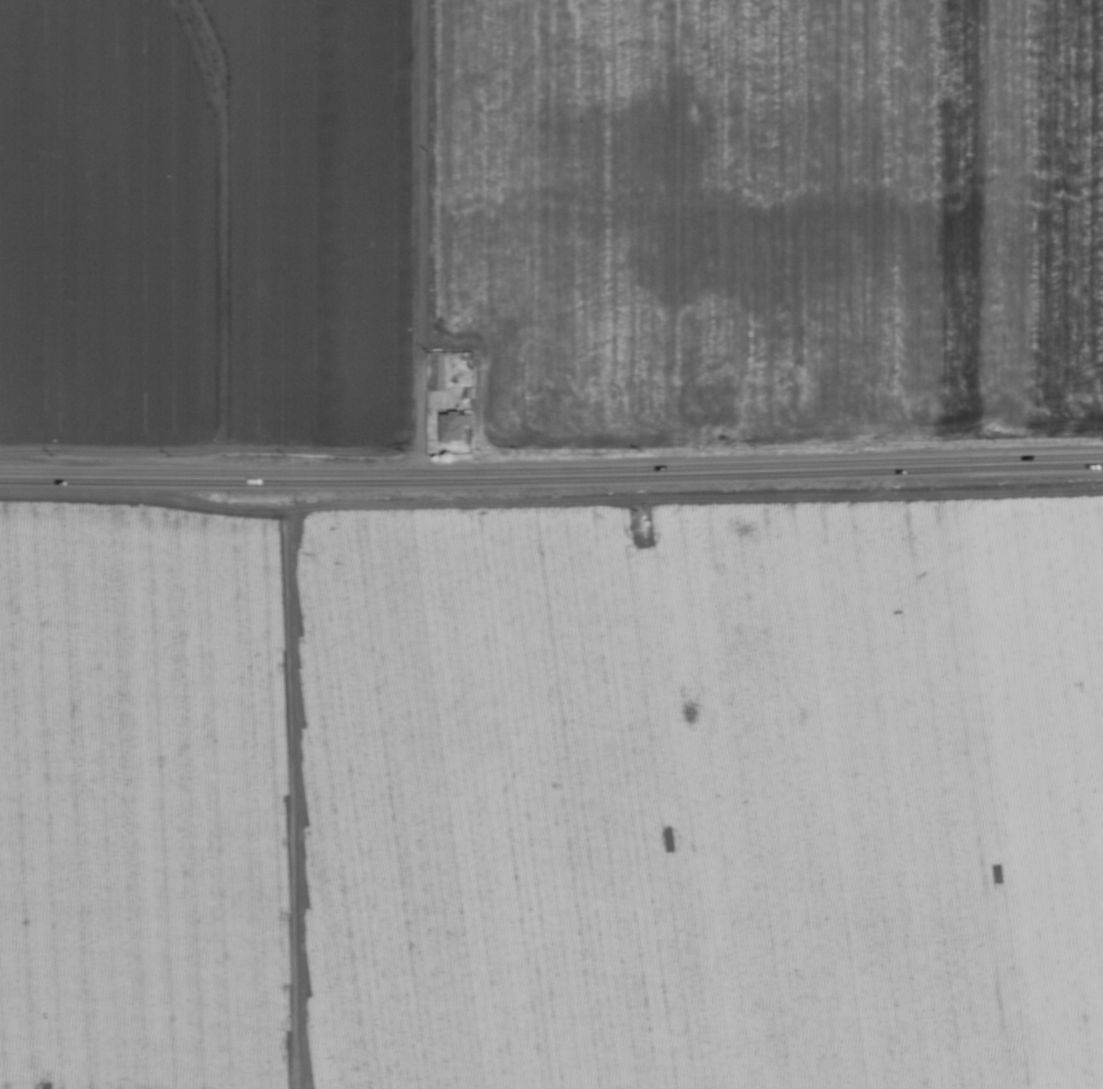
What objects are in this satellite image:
road: (430, 235)
building: (436, 370)
building: (452, 425)
road: (551, 467)
crop: (551, 544)

